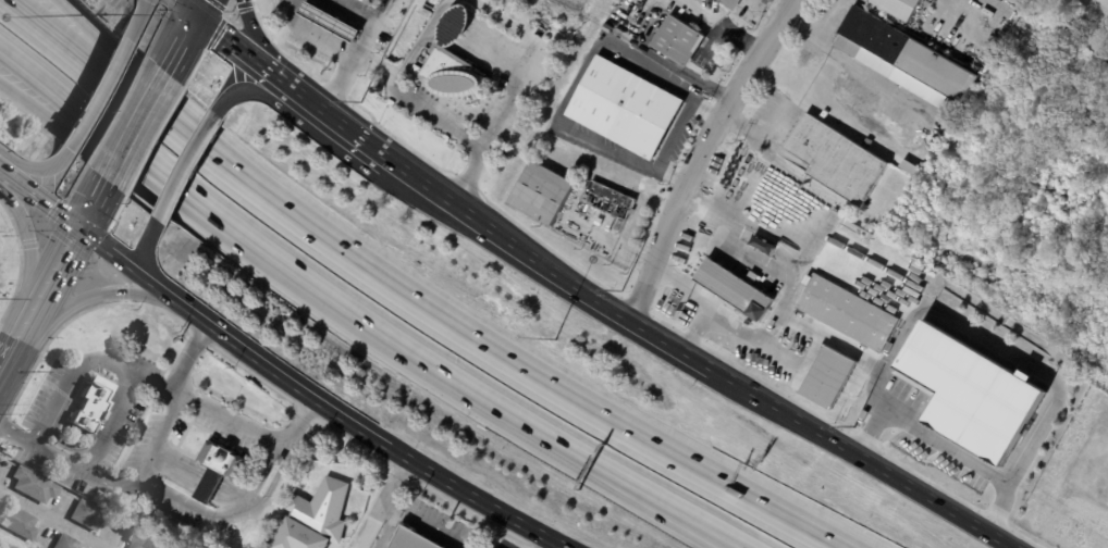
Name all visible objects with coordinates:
road: (454, 0)
road: (790, 1)
road: (985, 2)
building: (731, 3)
road: (185, 8)
road: (198, 8)
building: (898, 8)
building: (656, 10)
road: (358, 12)
traffic signals: (195, 15)
road: (827, 20)
road: (134, 21)
road: (506, 23)
building: (334, 25)
gas station: (334, 25)
road: (719, 27)
road: (316, 35)
road: (90, 41)
road: (181, 41)
building: (680, 41)
road: (64, 42)
road: (259, 42)
road: (239, 49)
road: (360, 57)
building: (904, 59)
building: (456, 62)
road: (852, 66)
road: (380, 70)
road: (575, 77)
road: (244, 89)
road: (401, 90)
road: (95, 96)
road: (515, 99)
road: (67, 102)
building: (627, 108)
road: (137, 120)
road: (334, 122)
road: (676, 134)
road: (699, 153)
building: (836, 160)
road: (35, 167)
building: (909, 169)
road: (125, 172)
road: (189, 172)
road: (470, 179)
park: (1026, 184)
railway: (102, 191)
building: (542, 194)
building: (613, 200)
road: (37, 201)
road: (91, 201)
road: (198, 201)
building: (602, 221)
traffic signals: (75, 231)
road: (46, 236)
road: (71, 245)
road: (29, 246)
road: (26, 248)
road: (21, 261)
road: (151, 263)
road: (120, 264)
road: (546, 267)
road: (106, 272)
road: (50, 275)
road: (678, 289)
building: (735, 290)
road: (123, 292)
road: (788, 294)
road: (94, 298)
road: (158, 309)
building: (848, 314)
road: (469, 335)
road: (200, 336)
road: (17, 338)
road: (977, 338)
road: (4, 364)
road: (67, 378)
building: (828, 378)
building: (860, 387)
road: (271, 388)
building: (971, 396)
building: (90, 407)
road: (492, 407)
road: (882, 411)
road: (306, 412)
road: (235, 422)
road: (357, 431)
road: (256, 434)
road: (99, 441)
building: (283, 457)
road: (859, 458)
road: (387, 466)
building: (218, 469)
road: (401, 473)
building: (243, 477)
building: (35, 484)
road: (110, 484)
road: (174, 499)
road: (387, 506)
road: (471, 512)
building: (89, 514)
building: (316, 518)
road: (52, 519)
building: (19, 521)
building: (415, 538)
building: (146, 540)
building: (70, 541)
road: (540, 544)
railway: (1, 547)
road: (533, 547)

